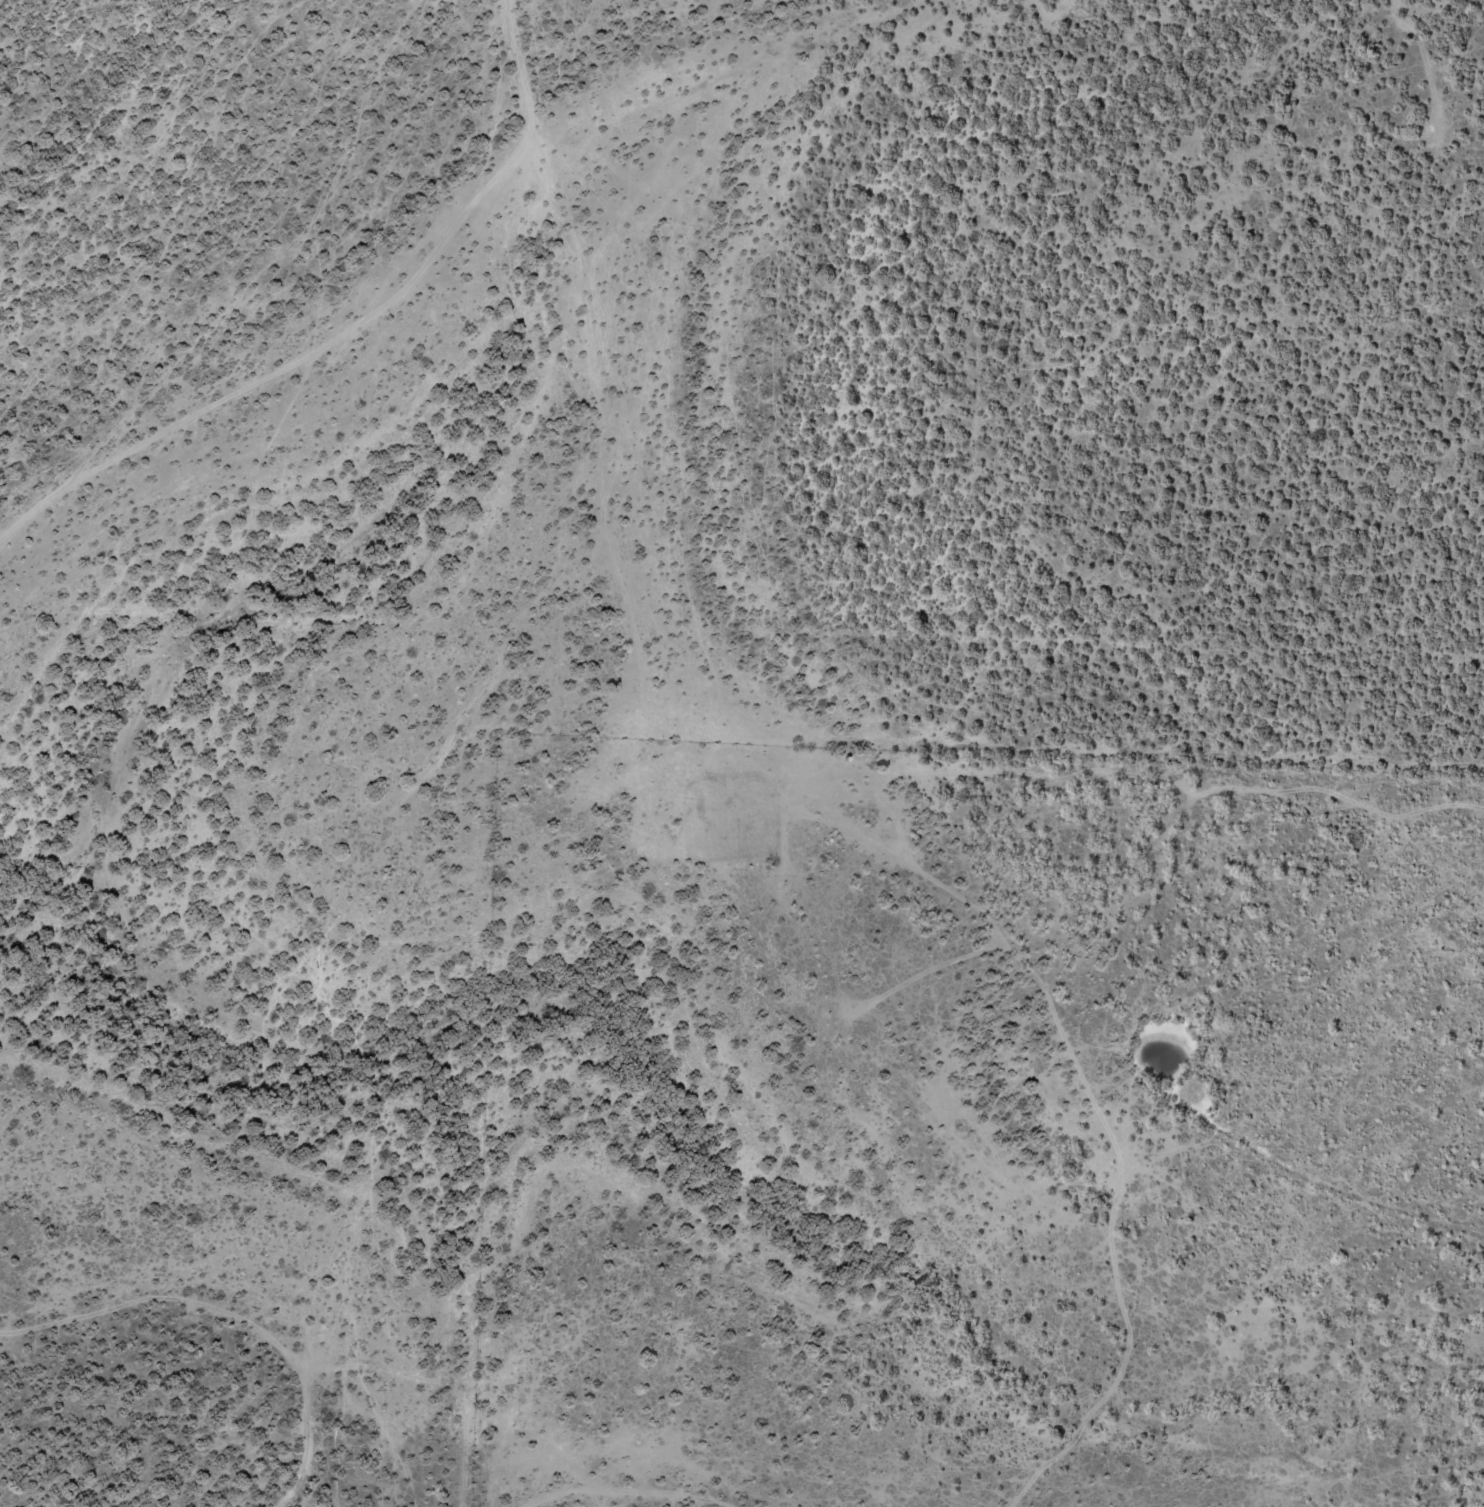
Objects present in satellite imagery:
road: (373, 356)
road: (1373, 980)
road: (253, 1325)

